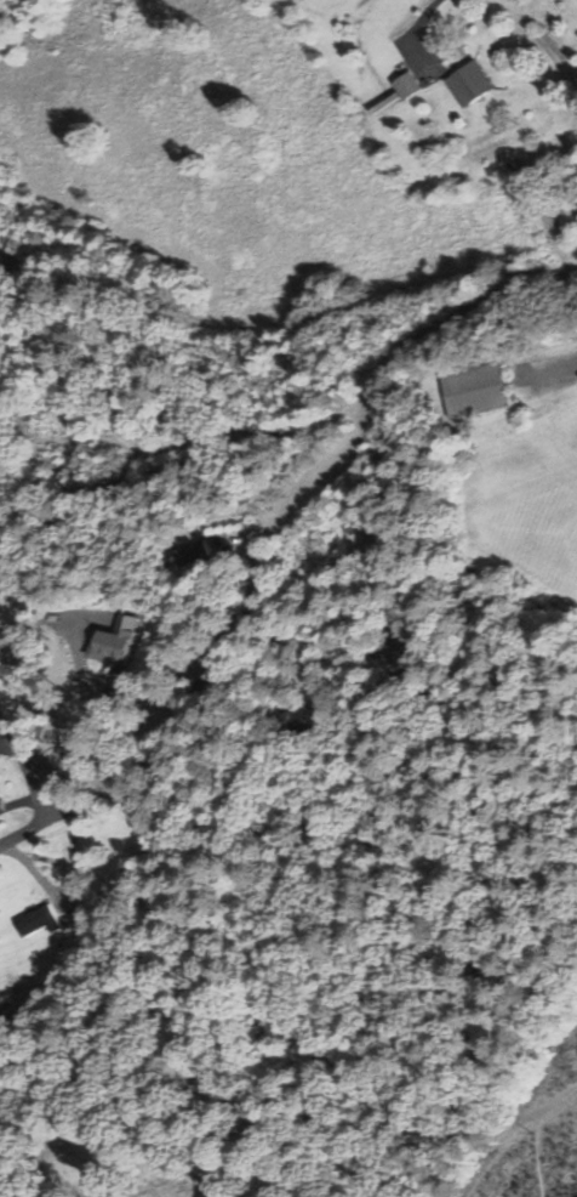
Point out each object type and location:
building: (462, 85)
building: (400, 86)
building: (470, 390)
building: (188, 552)
building: (110, 641)
building: (5, 645)
road: (27, 766)
building: (0, 811)
road: (62, 815)
building: (36, 920)

